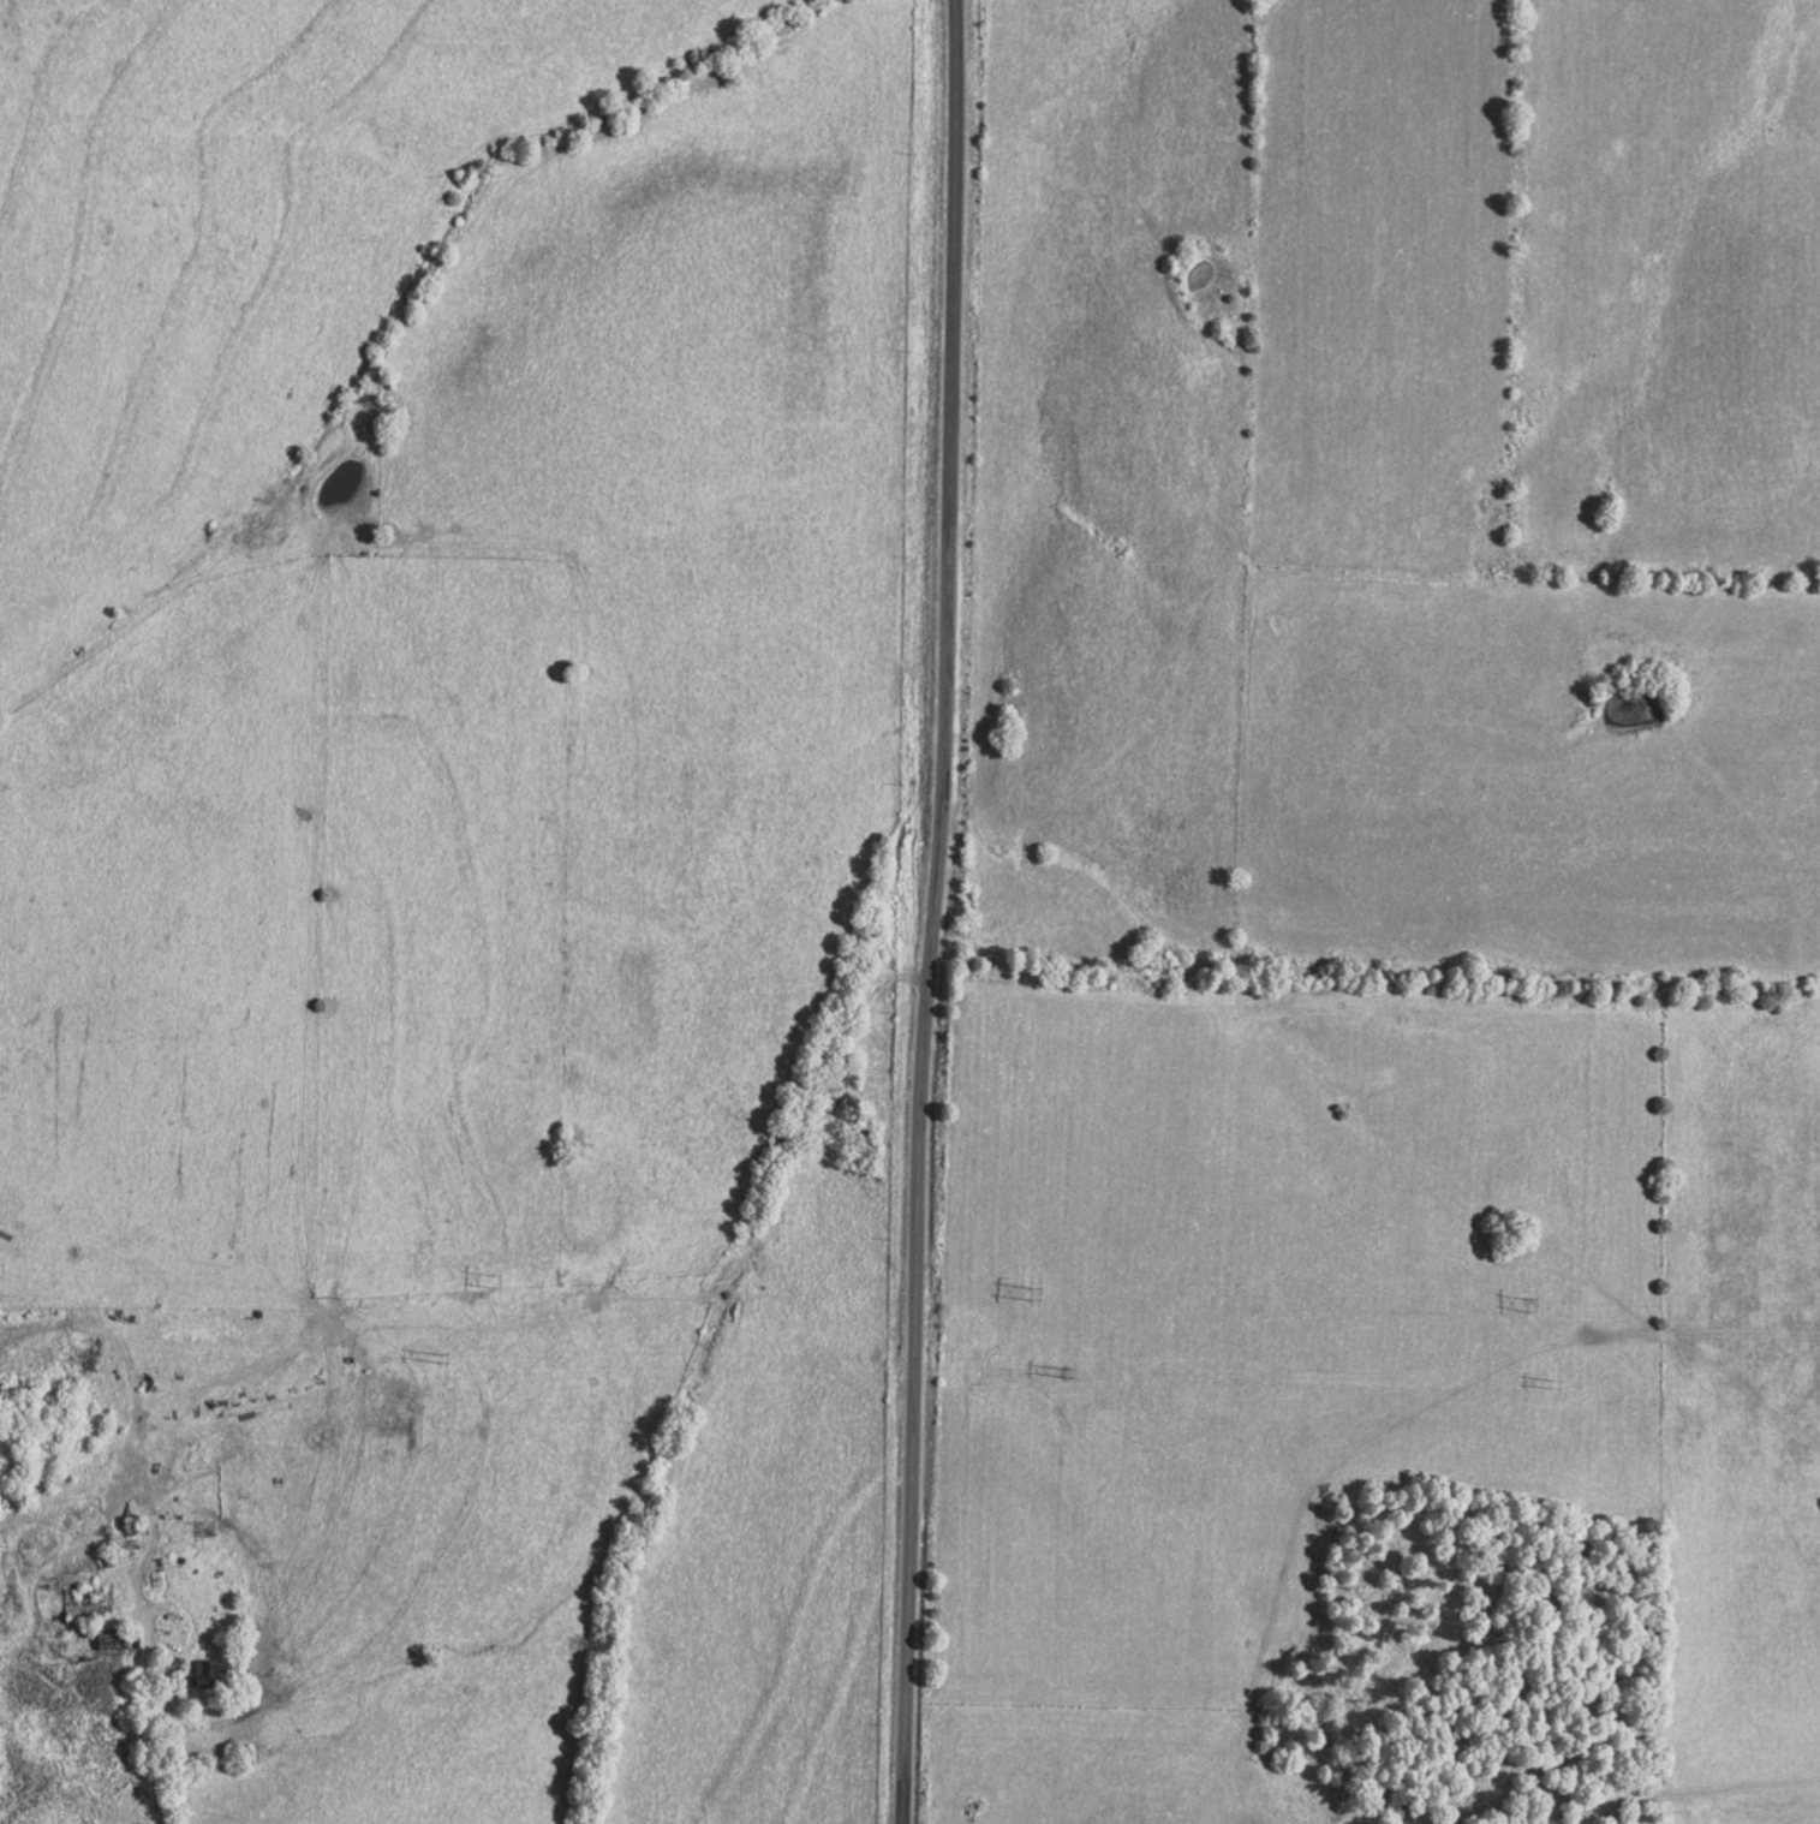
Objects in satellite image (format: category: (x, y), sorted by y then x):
road: (932, 912)
power tower: (493, 1281)
power tower: (1028, 1292)
power tower: (1526, 1303)
building: (205, 1673)
road: (141, 1677)

